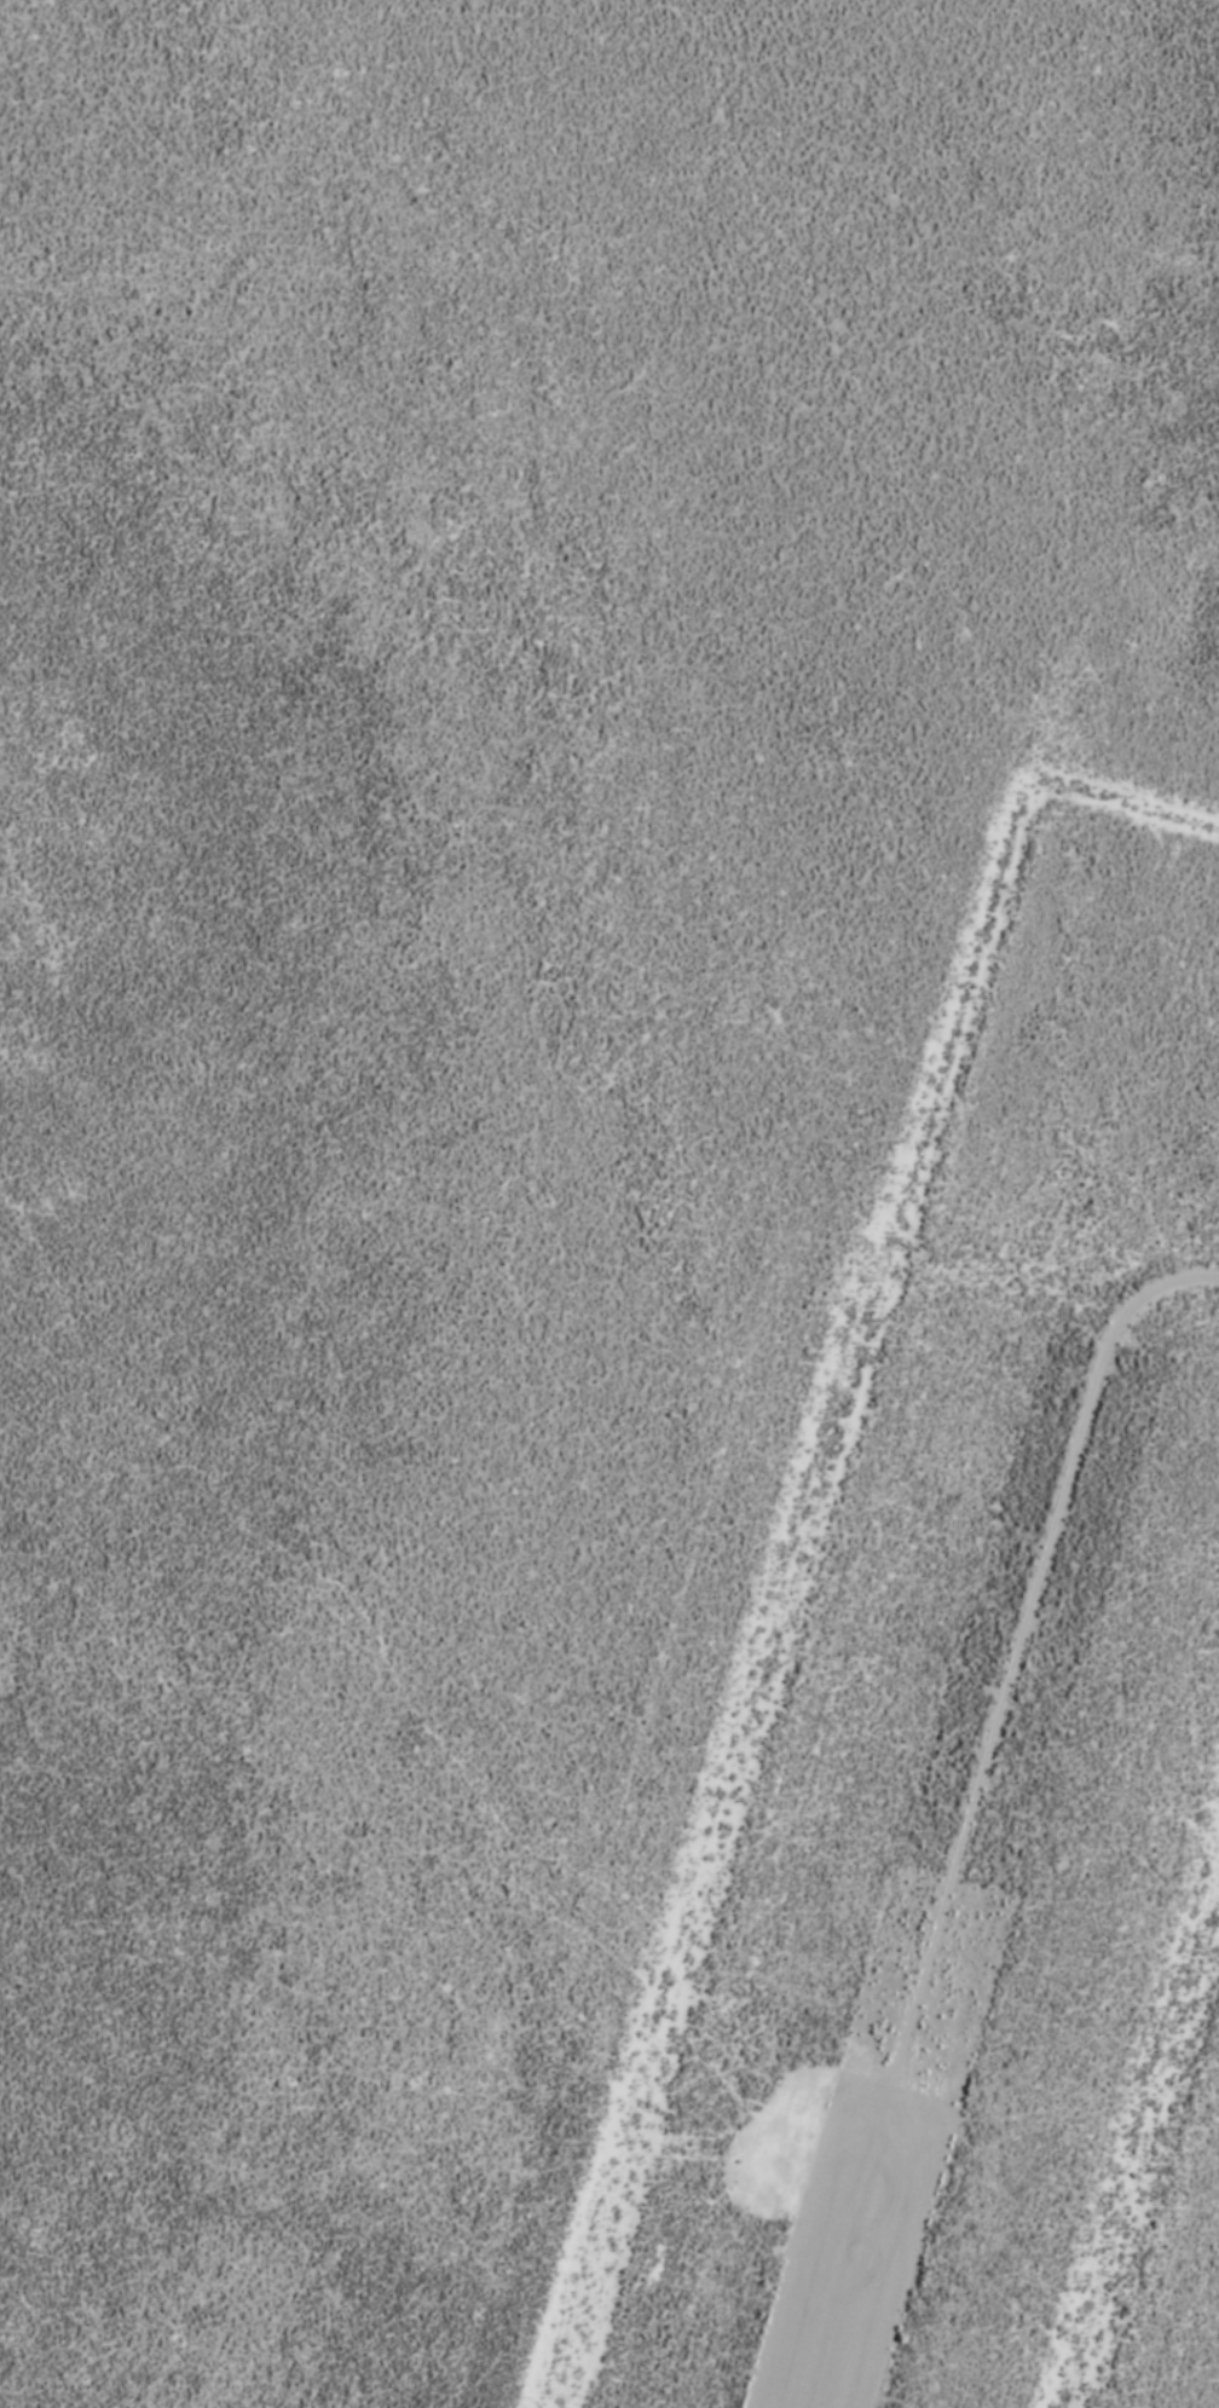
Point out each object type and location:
road: (1022, 1642)
airport runway: (851, 2242)

